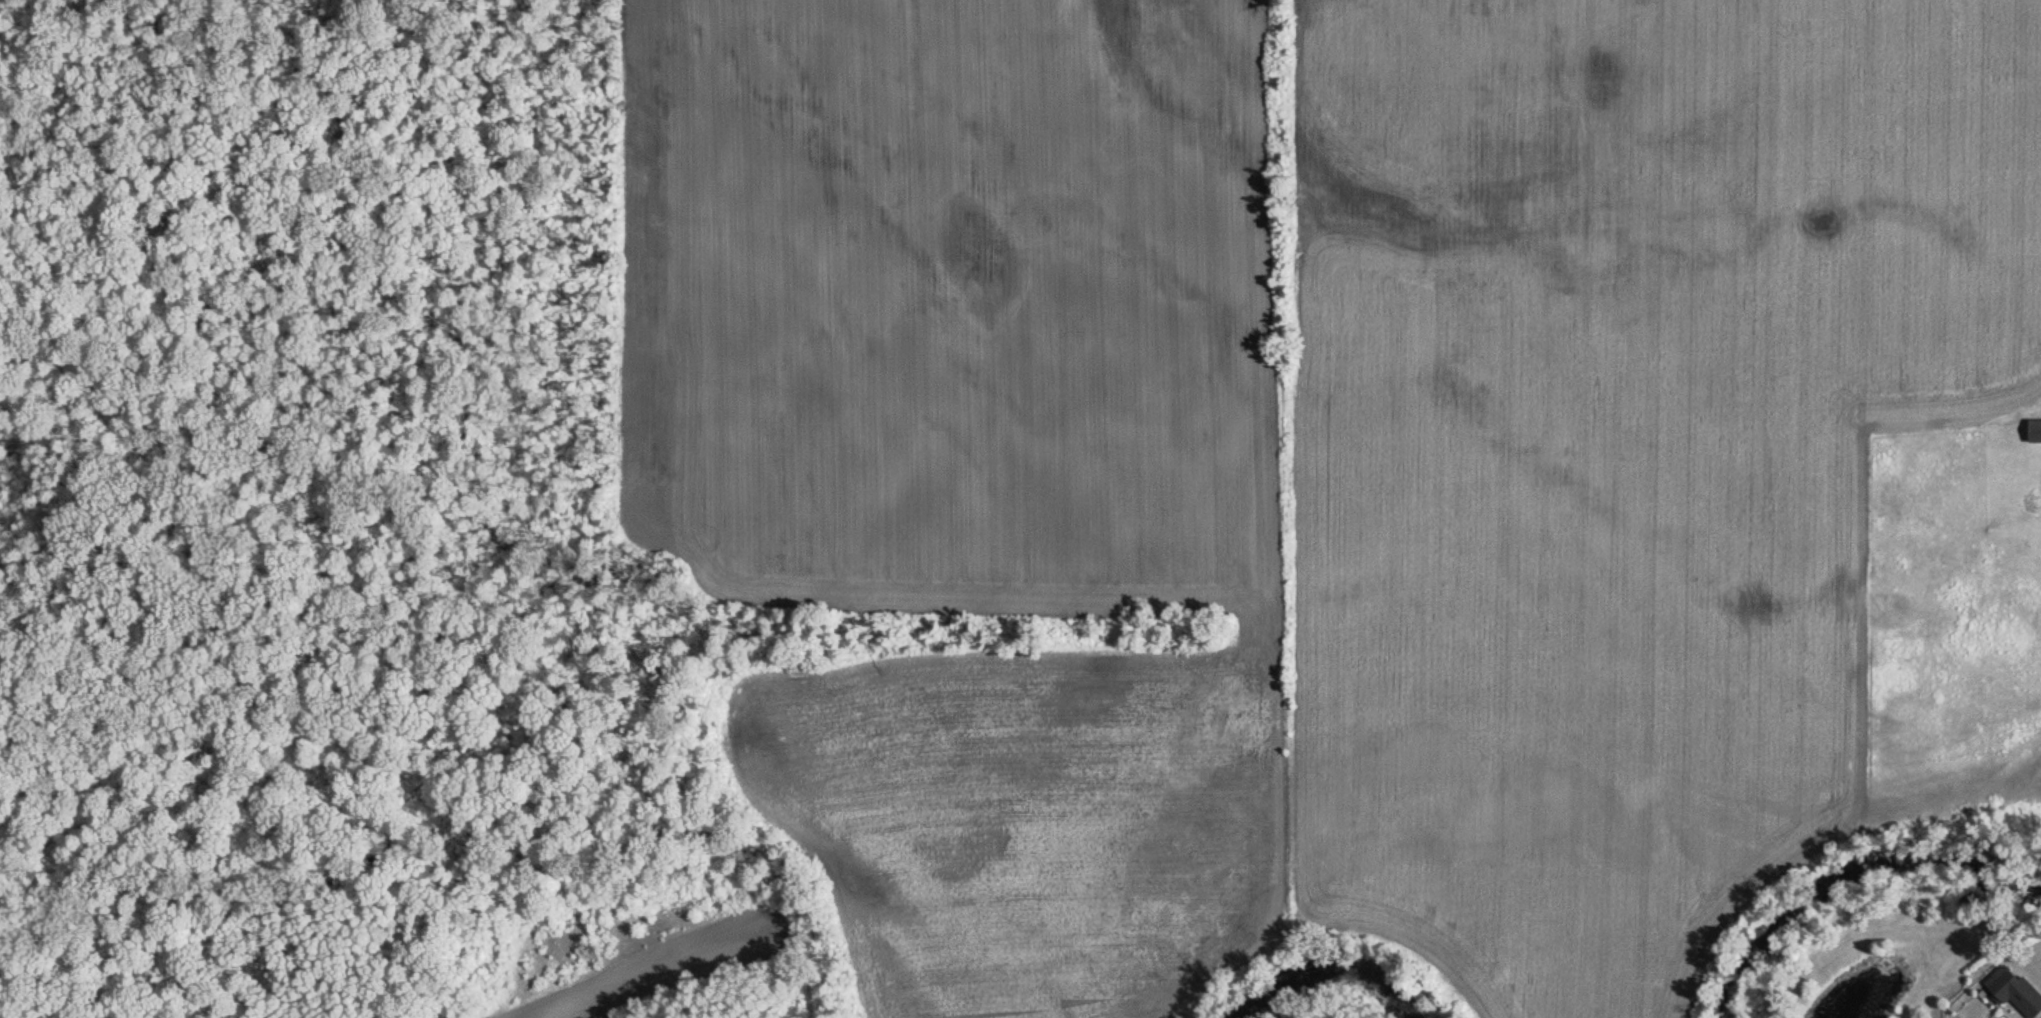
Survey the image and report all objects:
building: (2037, 431)
building: (2017, 989)

